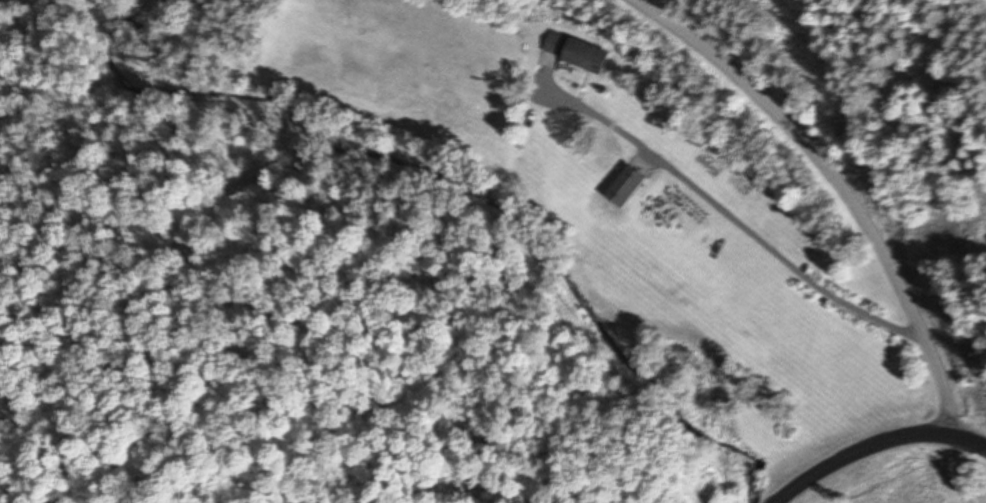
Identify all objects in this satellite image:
building: (573, 53)
building: (621, 187)
road: (838, 189)
road: (732, 210)
road: (880, 449)

